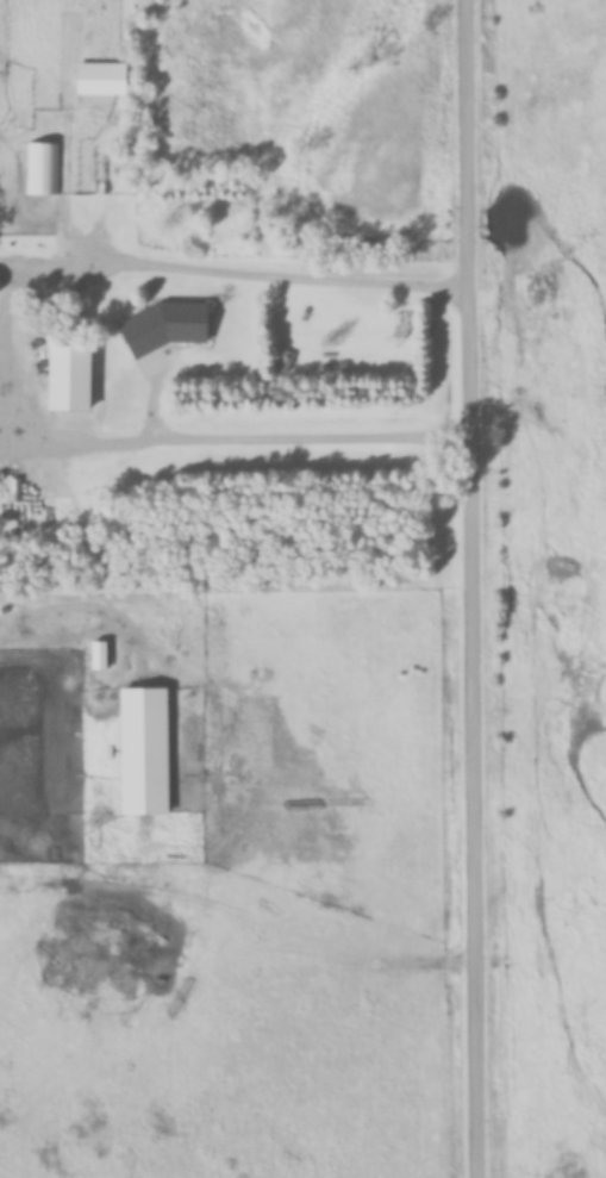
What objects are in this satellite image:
building: (104, 79)
building: (43, 168)
road: (285, 275)
building: (170, 317)
building: (74, 376)
road: (313, 436)
road: (477, 588)
building: (146, 750)

